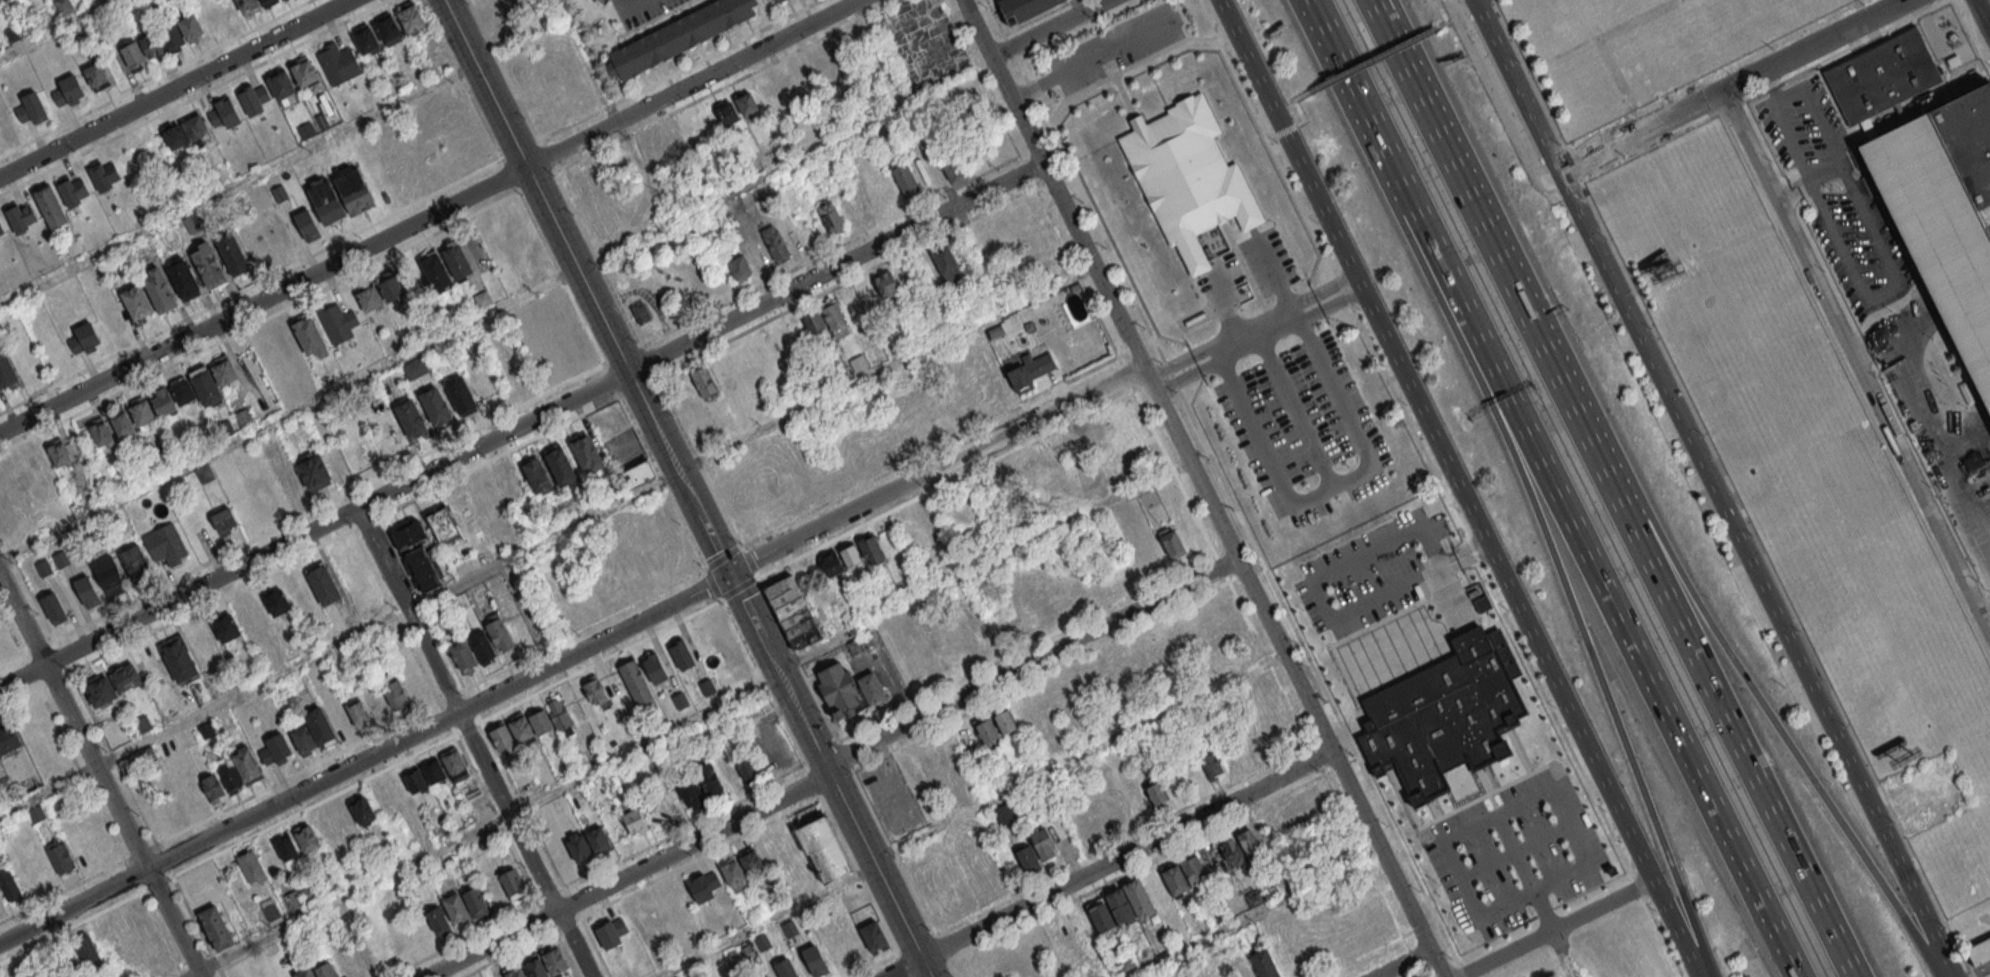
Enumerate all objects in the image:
building: (775, 0)
building: (0, 1)
building: (770, 1)
building: (783, 2)
building: (266, 3)
road: (1988, 3)
building: (63, 6)
building: (247, 6)
road: (1077, 6)
building: (1021, 8)
road: (633, 9)
parking lot: (641, 10)
building: (227, 11)
road: (1443, 16)
building: (410, 17)
building: (190, 27)
road: (1049, 27)
road: (56, 28)
building: (388, 28)
building: (11, 34)
building: (171, 36)
building: (365, 38)
building: (681, 38)
power substation: (1946, 38)
building: (152, 46)
parking lot: (1111, 47)
building: (132, 54)
building: (433, 54)
road: (1093, 59)
road: (1372, 59)
road: (586, 61)
road: (1412, 61)
road: (1397, 62)
building: (337, 63)
building: (303, 71)
road: (504, 73)
building: (1881, 75)
building: (96, 76)
building: (794, 81)
road: (1774, 81)
building: (280, 83)
road: (1730, 86)
road: (176, 88)
building: (67, 90)
road: (1301, 94)
building: (766, 95)
building: (254, 97)
road: (1359, 98)
building: (560, 103)
building: (747, 103)
building: (31, 108)
building: (223, 112)
building: (727, 113)
road: (1302, 119)
building: (194, 126)
building: (306, 130)
building: (175, 136)
road: (1792, 142)
building: (669, 144)
road: (546, 158)
road: (793, 163)
building: (406, 164)
building: (953, 166)
road: (1844, 171)
building: (102, 175)
building: (906, 180)
building: (1189, 180)
road: (237, 186)
building: (352, 188)
building: (886, 189)
building: (72, 190)
building: (279, 192)
road: (1795, 197)
building: (324, 200)
building: (51, 207)
building: (1945, 214)
road: (430, 216)
building: (1008, 216)
building: (20, 217)
building: (830, 217)
building: (307, 224)
building: (195, 225)
building: (1, 230)
building: (274, 231)
building: (521, 240)
building: (252, 241)
road: (563, 242)
building: (774, 243)
building: (232, 253)
road: (1495, 255)
building: (457, 260)
road: (597, 260)
building: (945, 260)
parking lot: (1268, 262)
road: (1851, 265)
building: (210, 266)
building: (739, 267)
road: (836, 267)
building: (434, 269)
building: (183, 278)
building: (887, 284)
road: (1278, 285)
building: (390, 289)
building: (159, 291)
building: (369, 298)
building: (482, 298)
building: (136, 301)
road: (1225, 311)
building: (836, 319)
building: (337, 321)
building: (813, 321)
road: (1255, 336)
building: (310, 337)
building: (85, 338)
building: (263, 348)
road: (648, 362)
building: (858, 363)
road: (1855, 363)
road: (886, 370)
building: (224, 371)
building: (416, 371)
building: (6, 372)
building: (1030, 372)
building: (396, 376)
building: (703, 382)
building: (206, 387)
building: (182, 391)
building: (460, 394)
building: (163, 403)
building: (962, 404)
building: (435, 406)
building: (142, 412)
road: (288, 412)
building: (243, 416)
building: (410, 417)
building: (925, 422)
building: (122, 424)
building: (1112, 425)
building: (223, 428)
parking lot: (1304, 429)
building: (101, 432)
building: (908, 435)
building: (365, 451)
building: (59, 453)
building: (586, 453)
building: (38, 463)
road: (698, 463)
building: (560, 465)
building: (313, 472)
building: (536, 475)
building: (638, 475)
building: (17, 476)
building: (1002, 482)
road: (657, 483)
road: (1335, 486)
road: (1712, 487)
road: (1458, 488)
road: (1201, 489)
road: (1965, 491)
building: (491, 499)
building: (223, 519)
building: (442, 524)
road: (313, 529)
road: (706, 529)
building: (408, 534)
building: (165, 544)
building: (1172, 544)
building: (871, 549)
building: (850, 556)
road: (1464, 556)
building: (61, 559)
building: (136, 563)
road: (748, 563)
building: (831, 563)
building: (43, 567)
road: (982, 567)
building: (422, 568)
traffic signals: (728, 574)
parking lot: (1371, 575)
building: (110, 576)
road: (1564, 582)
building: (323, 583)
road: (1319, 585)
road: (1595, 587)
building: (86, 589)
building: (1079, 592)
road: (1453, 594)
building: (278, 603)
road: (744, 606)
building: (53, 608)
building: (793, 612)
road: (1987, 617)
building: (227, 629)
building: (499, 635)
building: (481, 645)
building: (290, 651)
building: (680, 653)
building: (462, 655)
road: (573, 656)
building: (179, 660)
road: (797, 660)
building: (1136, 661)
building: (654, 667)
building: (127, 679)
road: (1705, 682)
building: (635, 683)
road: (1749, 683)
building: (706, 687)
building: (871, 687)
building: (837, 688)
road: (247, 690)
building: (101, 691)
building: (395, 692)
building: (595, 692)
building: (375, 700)
building: (680, 700)
building: (338, 713)
building: (357, 713)
building: (559, 714)
building: (1445, 718)
building: (1005, 721)
building: (540, 722)
building: (319, 725)
building: (206, 729)
building: (521, 729)
building: (986, 731)
building: (501, 736)
building: (9, 738)
building: (304, 740)
road: (475, 741)
building: (1250, 745)
building: (279, 748)
road: (844, 755)
road: (1076, 757)
building: (139, 761)
building: (931, 761)
building: (1211, 764)
building: (247, 766)
building: (746, 766)
building: (456, 767)
road: (829, 767)
building: (434, 772)
building: (913, 772)
road: (99, 777)
building: (709, 778)
building: (232, 780)
building: (416, 785)
building: (213, 787)
building: (689, 791)
parking lot: (890, 798)
building: (1155, 799)
road: (844, 807)
building: (654, 812)
building: (363, 813)
road: (1500, 814)
building: (634, 820)
building: (457, 822)
road: (481, 825)
building: (438, 831)
building: (307, 839)
building: (598, 839)
building: (1247, 842)
building: (1043, 845)
building: (579, 847)
building: (79, 848)
building: (823, 849)
building: (1230, 849)
building: (288, 851)
road: (890, 851)
parking lot: (1516, 854)
building: (60, 858)
building: (1026, 859)
building: (751, 862)
road: (1107, 864)
building: (251, 867)
building: (1194, 870)
building: (732, 872)
road: (1526, 872)
building: (1174, 879)
building: (511, 882)
building: (9, 885)
building: (704, 886)
building: (309, 895)
building: (1138, 898)
building: (1256, 898)
building: (293, 901)
building: (475, 901)
building: (668, 904)
building: (455, 907)
building: (1120, 907)
building: (269, 909)
road: (1264, 912)
building: (1101, 917)
building: (438, 921)
road: (762, 921)
building: (1082, 926)
building: (789, 927)
building: (217, 929)
road: (1555, 929)
building: (610, 932)
road: (159, 935)
building: (872, 935)
building: (400, 936)
building: (1064, 936)
road: (529, 942)
building: (762, 942)
building: (852, 942)
road: (938, 948)
building: (84, 949)
building: (744, 950)
building: (1979, 951)
road: (1564, 953)
building: (835, 954)
building: (364, 956)
building: (814, 960)
building: (555, 962)
building: (1264, 964)
road: (1402, 964)
building: (1125, 965)
building: (786, 968)
building: (535, 969)
road: (949, 969)
building: (325, 971)
building: (305, 973)
building: (515, 973)
building: (767, 976)

